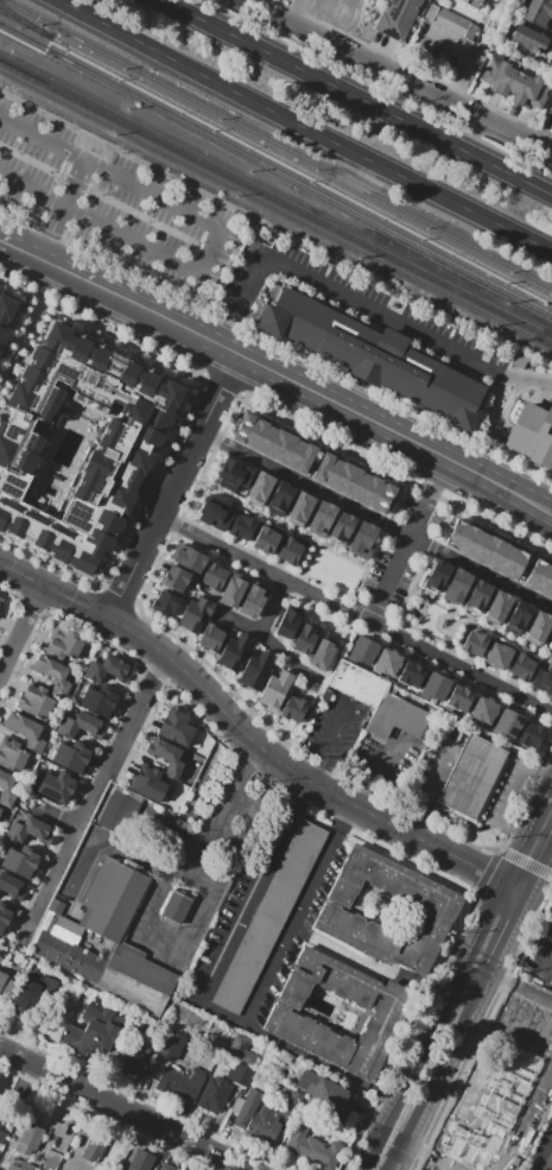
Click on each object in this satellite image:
building: (472, 2)
building: (538, 12)
building: (398, 18)
railway: (24, 20)
building: (451, 21)
railway: (25, 23)
building: (531, 39)
road: (470, 53)
building: (550, 65)
railway: (140, 70)
road: (401, 75)
building: (513, 81)
road: (331, 84)
railway: (133, 90)
building: (550, 110)
road: (306, 127)
road: (122, 152)
railway: (300, 167)
road: (59, 179)
road: (526, 182)
road: (89, 194)
railway: (275, 194)
road: (106, 197)
parking lot: (116, 202)
railway: (275, 207)
road: (63, 209)
railway: (414, 215)
road: (17, 217)
road: (50, 233)
railway: (408, 233)
road: (216, 240)
road: (18, 247)
road: (71, 273)
road: (321, 282)
building: (4, 305)
road: (100, 328)
road: (20, 340)
road: (310, 353)
building: (375, 356)
road: (242, 358)
road: (510, 373)
road: (222, 381)
road: (499, 406)
building: (246, 426)
building: (532, 430)
building: (259, 434)
building: (273, 441)
building: (120, 445)
building: (287, 449)
building: (302, 456)
building: (325, 468)
road: (464, 472)
building: (234, 475)
building: (340, 475)
road: (394, 475)
road: (150, 480)
building: (354, 482)
road: (306, 483)
road: (175, 487)
building: (260, 488)
road: (151, 489)
building: (368, 489)
building: (281, 498)
building: (382, 498)
road: (188, 499)
building: (300, 507)
building: (212, 512)
building: (319, 518)
building: (242, 525)
building: (341, 526)
building: (458, 536)
building: (264, 537)
building: (362, 538)
building: (471, 542)
building: (285, 549)
building: (486, 550)
building: (500, 557)
building: (190, 559)
building: (514, 563)
road: (265, 569)
road: (481, 570)
building: (438, 574)
building: (537, 575)
building: (214, 576)
building: (175, 577)
building: (546, 584)
building: (456, 586)
building: (233, 592)
building: (477, 596)
road: (116, 597)
building: (1, 601)
building: (252, 601)
building: (166, 603)
road: (272, 605)
building: (499, 607)
building: (195, 614)
park: (430, 618)
building: (518, 618)
building: (287, 622)
road: (20, 626)
road: (382, 627)
building: (539, 627)
building: (211, 637)
building: (305, 637)
building: (551, 641)
building: (64, 643)
building: (475, 643)
road: (272, 644)
building: (234, 651)
building: (363, 651)
building: (323, 653)
building: (497, 656)
building: (387, 663)
building: (522, 666)
building: (107, 669)
building: (255, 670)
building: (412, 673)
building: (52, 675)
building: (544, 681)
road: (319, 682)
building: (356, 683)
building: (434, 687)
building: (277, 688)
road: (318, 689)
building: (459, 698)
building: (34, 701)
building: (99, 701)
building: (293, 708)
building: (483, 710)
building: (399, 717)
building: (508, 723)
building: (80, 725)
building: (176, 726)
building: (26, 731)
parking lot: (335, 731)
building: (531, 734)
road: (248, 736)
building: (77, 741)
road: (329, 744)
building: (12, 754)
building: (166, 757)
parking lot: (386, 764)
building: (472, 777)
building: (147, 783)
building: (56, 786)
building: (8, 790)
parking lot: (507, 795)
road: (93, 797)
road: (508, 801)
road: (227, 807)
building: (0, 808)
building: (118, 812)
road: (57, 817)
building: (28, 830)
road: (533, 848)
road: (543, 856)
building: (20, 861)
road: (540, 865)
building: (11, 885)
road: (252, 887)
building: (112, 898)
building: (56, 906)
building: (176, 909)
building: (438, 911)
road: (302, 913)
building: (4, 916)
building: (268, 917)
building: (49, 921)
road: (510, 922)
building: (66, 930)
road: (159, 941)
parking lot: (539, 946)
building: (50, 948)
road: (547, 962)
building: (84, 963)
building: (137, 980)
building: (551, 982)
building: (5, 986)
building: (34, 994)
building: (532, 1000)
road: (442, 1007)
building: (388, 1013)
building: (529, 1020)
building: (93, 1032)
building: (521, 1045)
building: (242, 1050)
road: (448, 1052)
building: (131, 1055)
building: (178, 1071)
building: (241, 1074)
building: (509, 1083)
building: (508, 1087)
building: (323, 1092)
building: (214, 1095)
road: (109, 1101)
building: (245, 1108)
building: (1, 1109)
building: (463, 1121)
building: (265, 1122)
building: (1, 1134)
building: (30, 1137)
building: (512, 1138)
building: (470, 1144)
building: (311, 1147)
building: (93, 1150)
road: (543, 1150)
building: (0, 1152)
road: (370, 1156)
road: (394, 1158)
building: (548, 1158)
building: (141, 1160)
road: (234, 1163)
building: (453, 1164)
building: (21, 1166)
building: (166, 1166)
building: (436, 1169)

